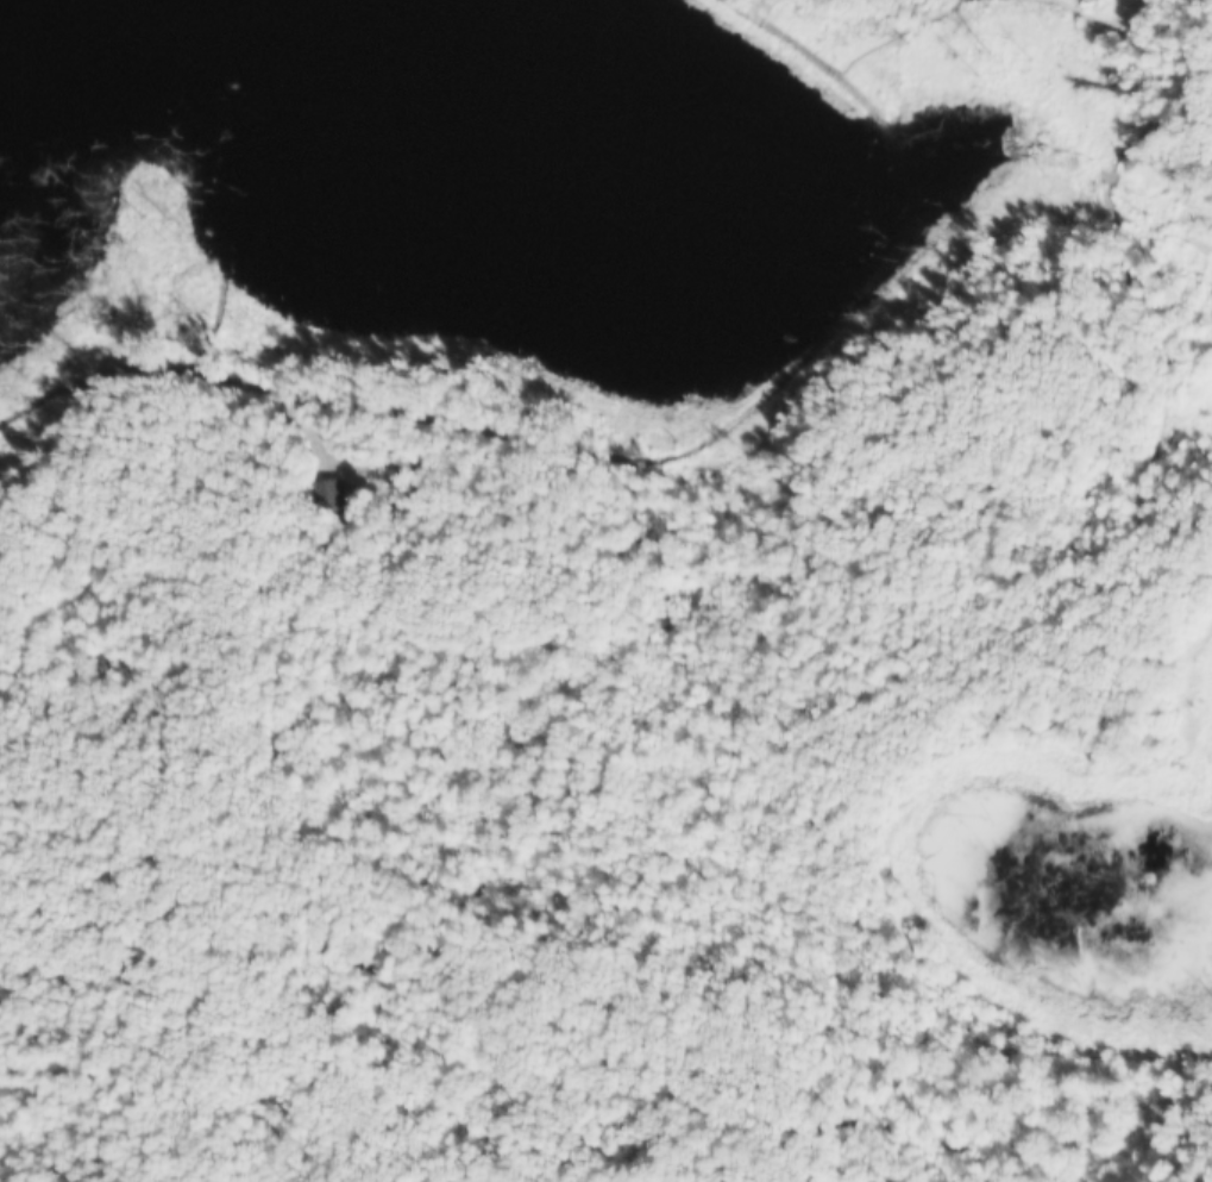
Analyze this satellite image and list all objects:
road: (164, 123)
road: (671, 446)
building: (324, 494)

